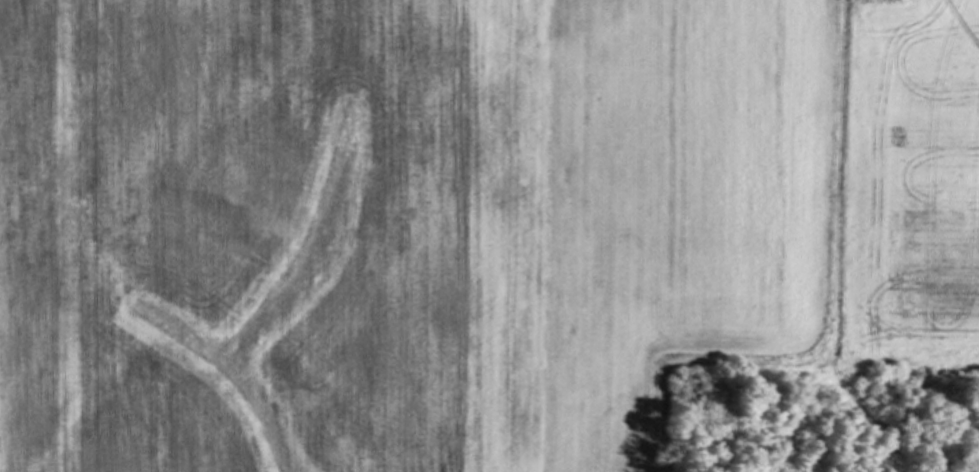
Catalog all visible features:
crop: (463, 221)

